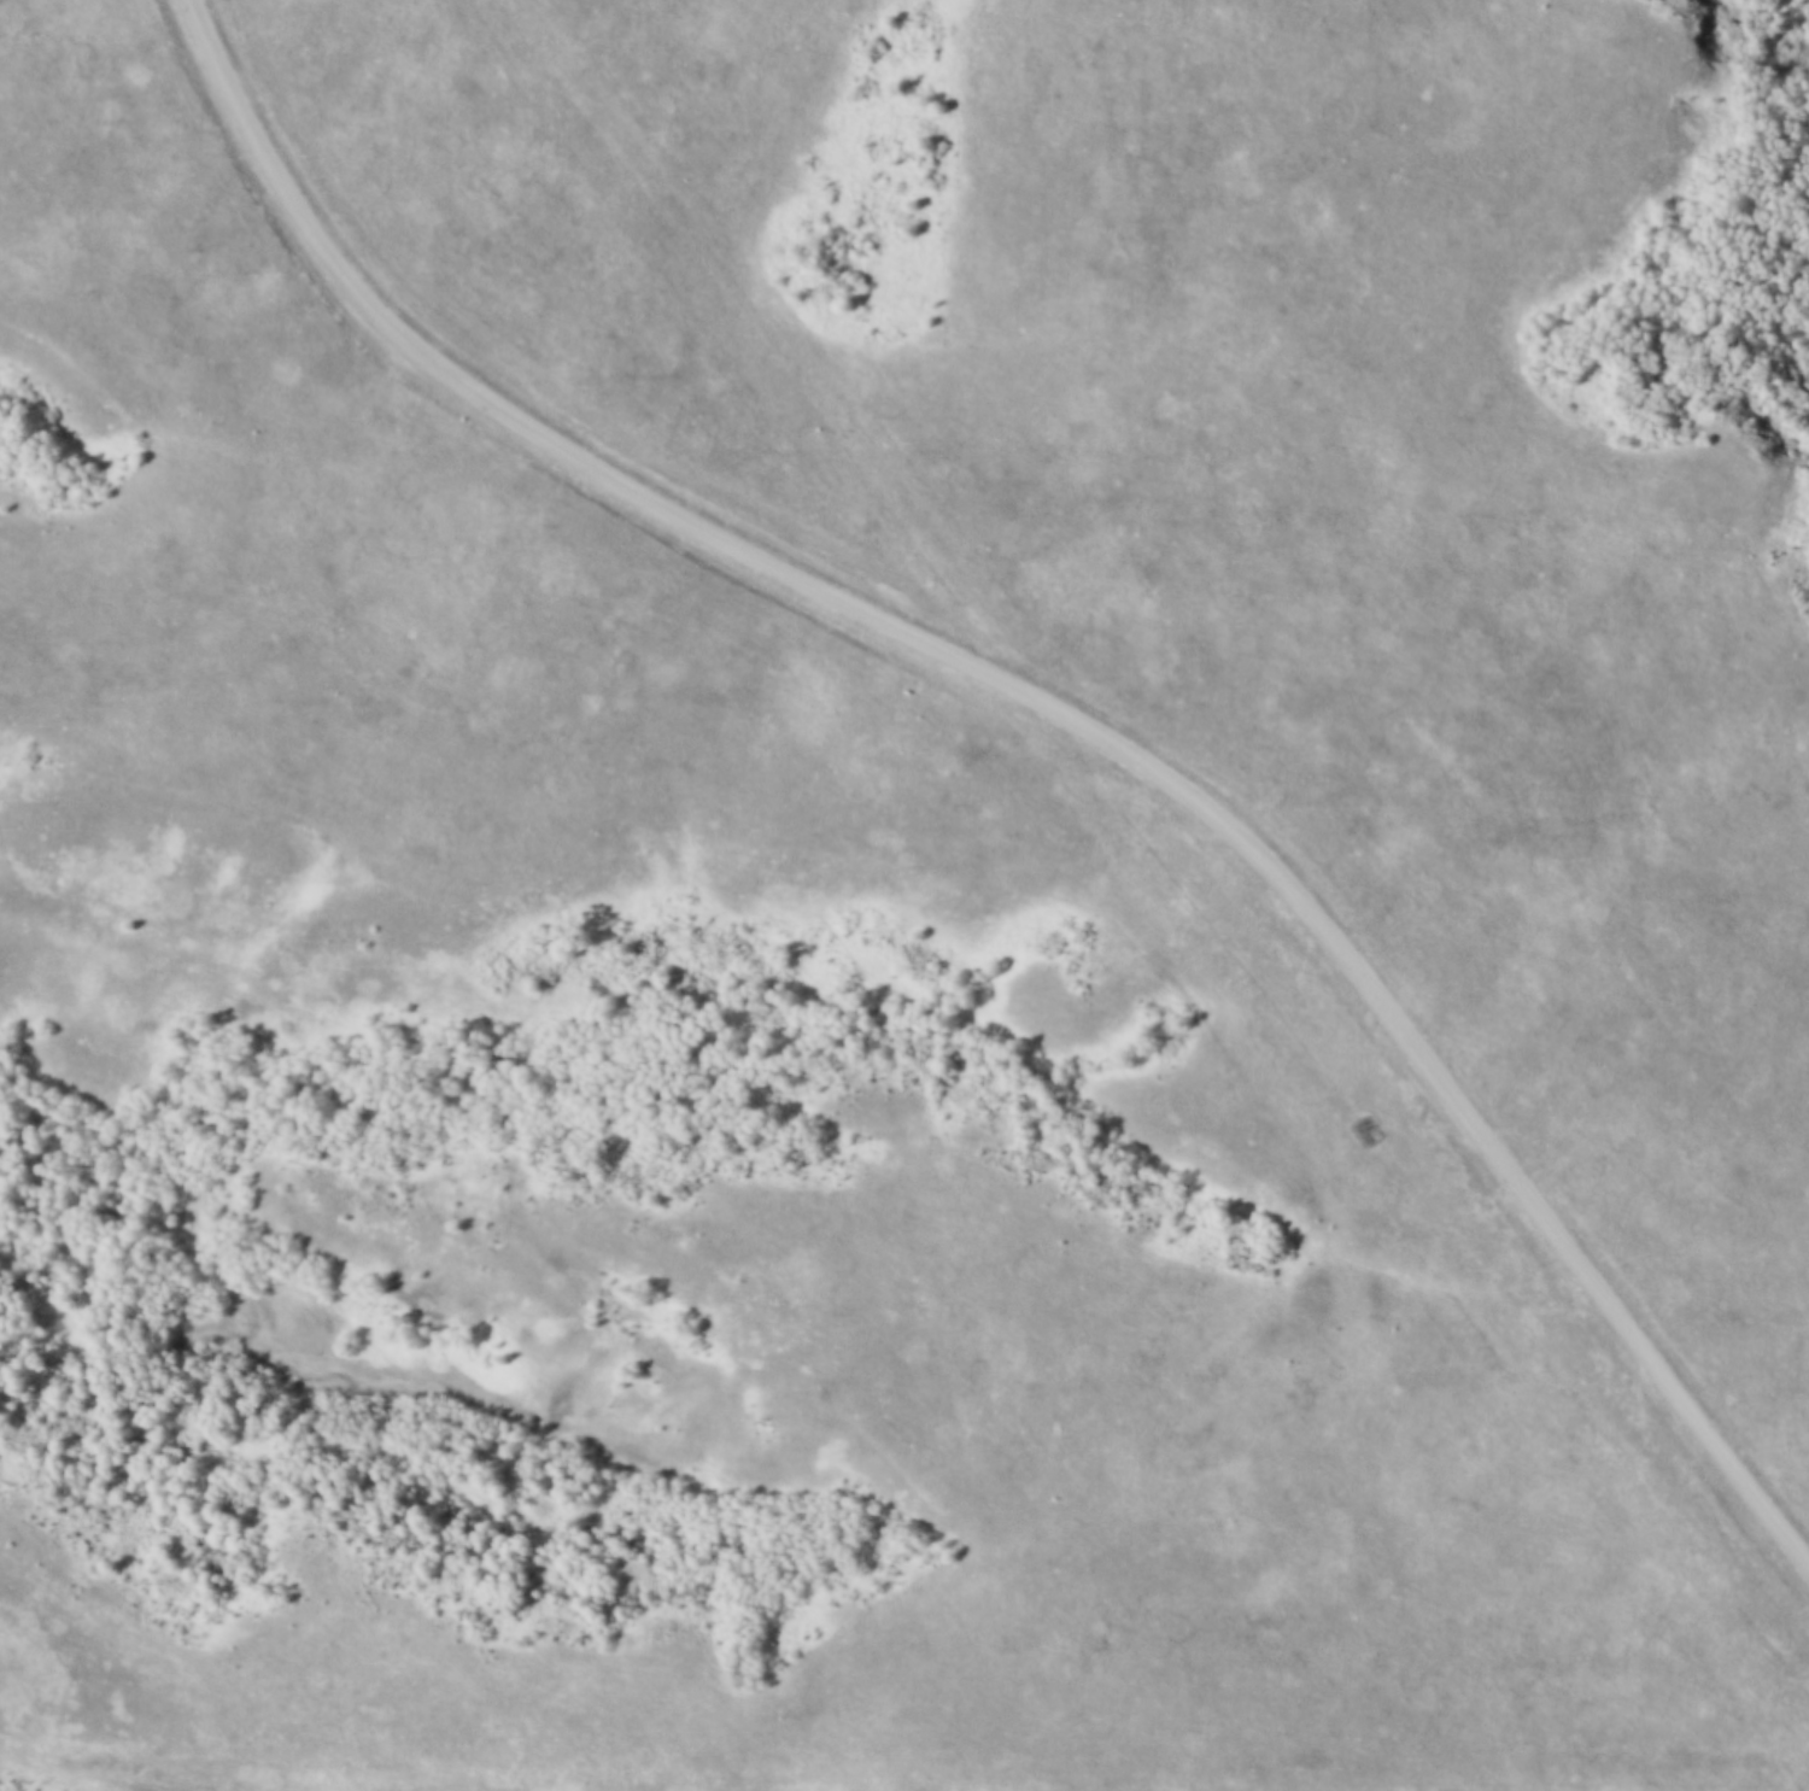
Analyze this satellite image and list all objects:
road: (1072, 730)

